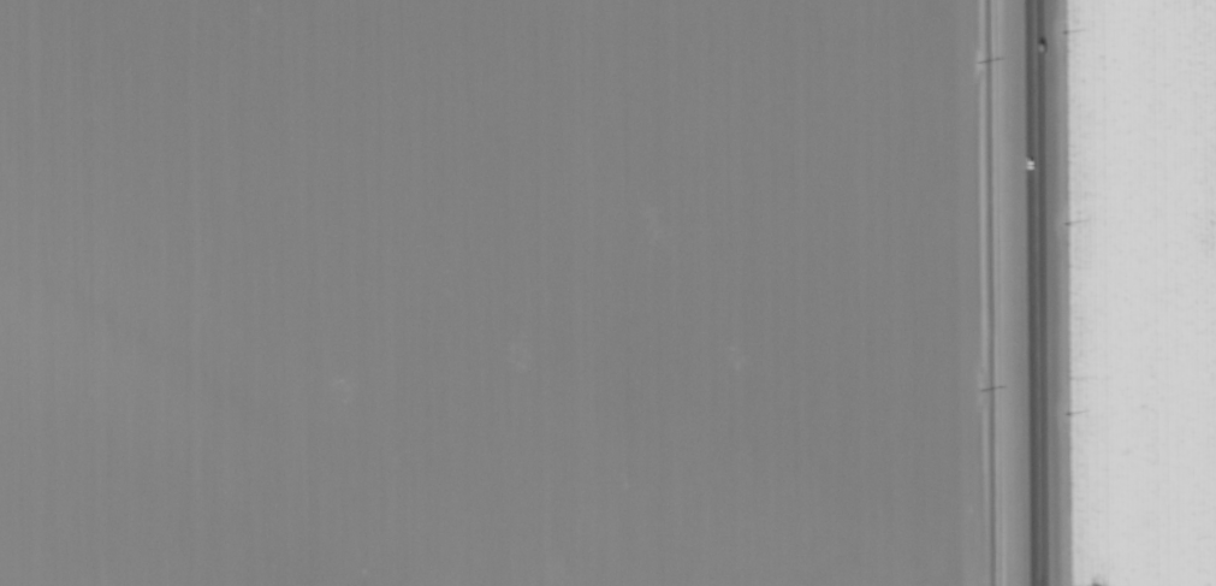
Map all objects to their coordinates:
crop: (1152, 286)
crop: (496, 292)
road: (1038, 292)

